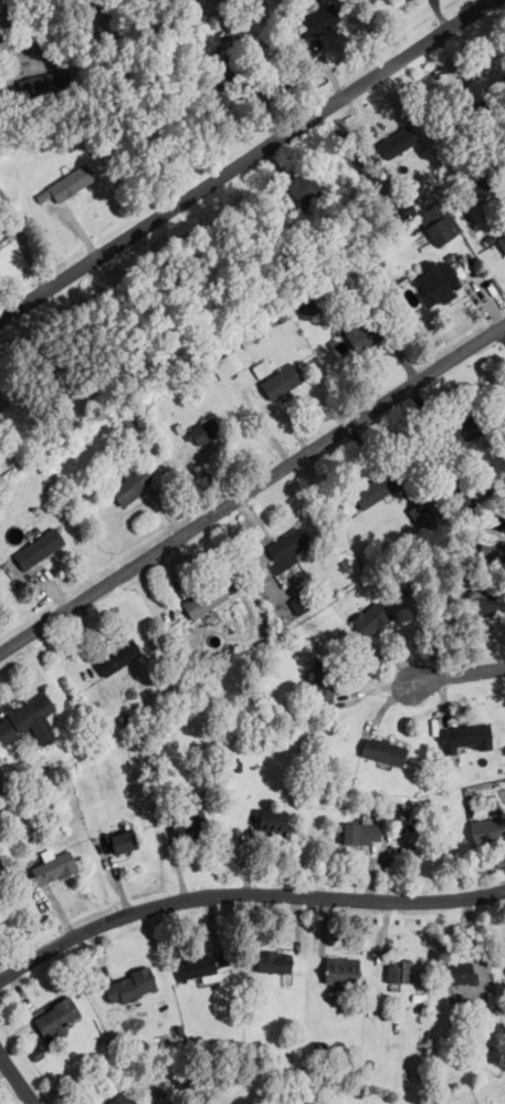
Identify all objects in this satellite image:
building: (317, 21)
building: (225, 69)
building: (39, 84)
building: (482, 85)
building: (398, 142)
road: (251, 164)
building: (70, 183)
building: (478, 187)
building: (303, 188)
building: (436, 222)
building: (2, 232)
building: (502, 242)
building: (436, 283)
building: (305, 306)
building: (359, 332)
building: (225, 364)
building: (281, 381)
building: (201, 431)
building: (461, 433)
building: (130, 485)
road: (252, 488)
building: (372, 491)
building: (422, 515)
building: (38, 549)
building: (285, 549)
building: (501, 550)
building: (203, 600)
building: (299, 603)
building: (481, 603)
building: (370, 619)
building: (116, 656)
building: (323, 681)
road: (457, 684)
building: (28, 720)
building: (464, 736)
building: (381, 751)
building: (271, 822)
building: (188, 824)
building: (487, 830)
building: (359, 833)
building: (122, 841)
building: (52, 867)
road: (242, 893)
building: (273, 961)
building: (200, 965)
building: (340, 970)
building: (400, 972)
building: (459, 973)
building: (128, 987)
building: (55, 1017)
building: (320, 1046)
road: (18, 1077)
building: (119, 1100)

